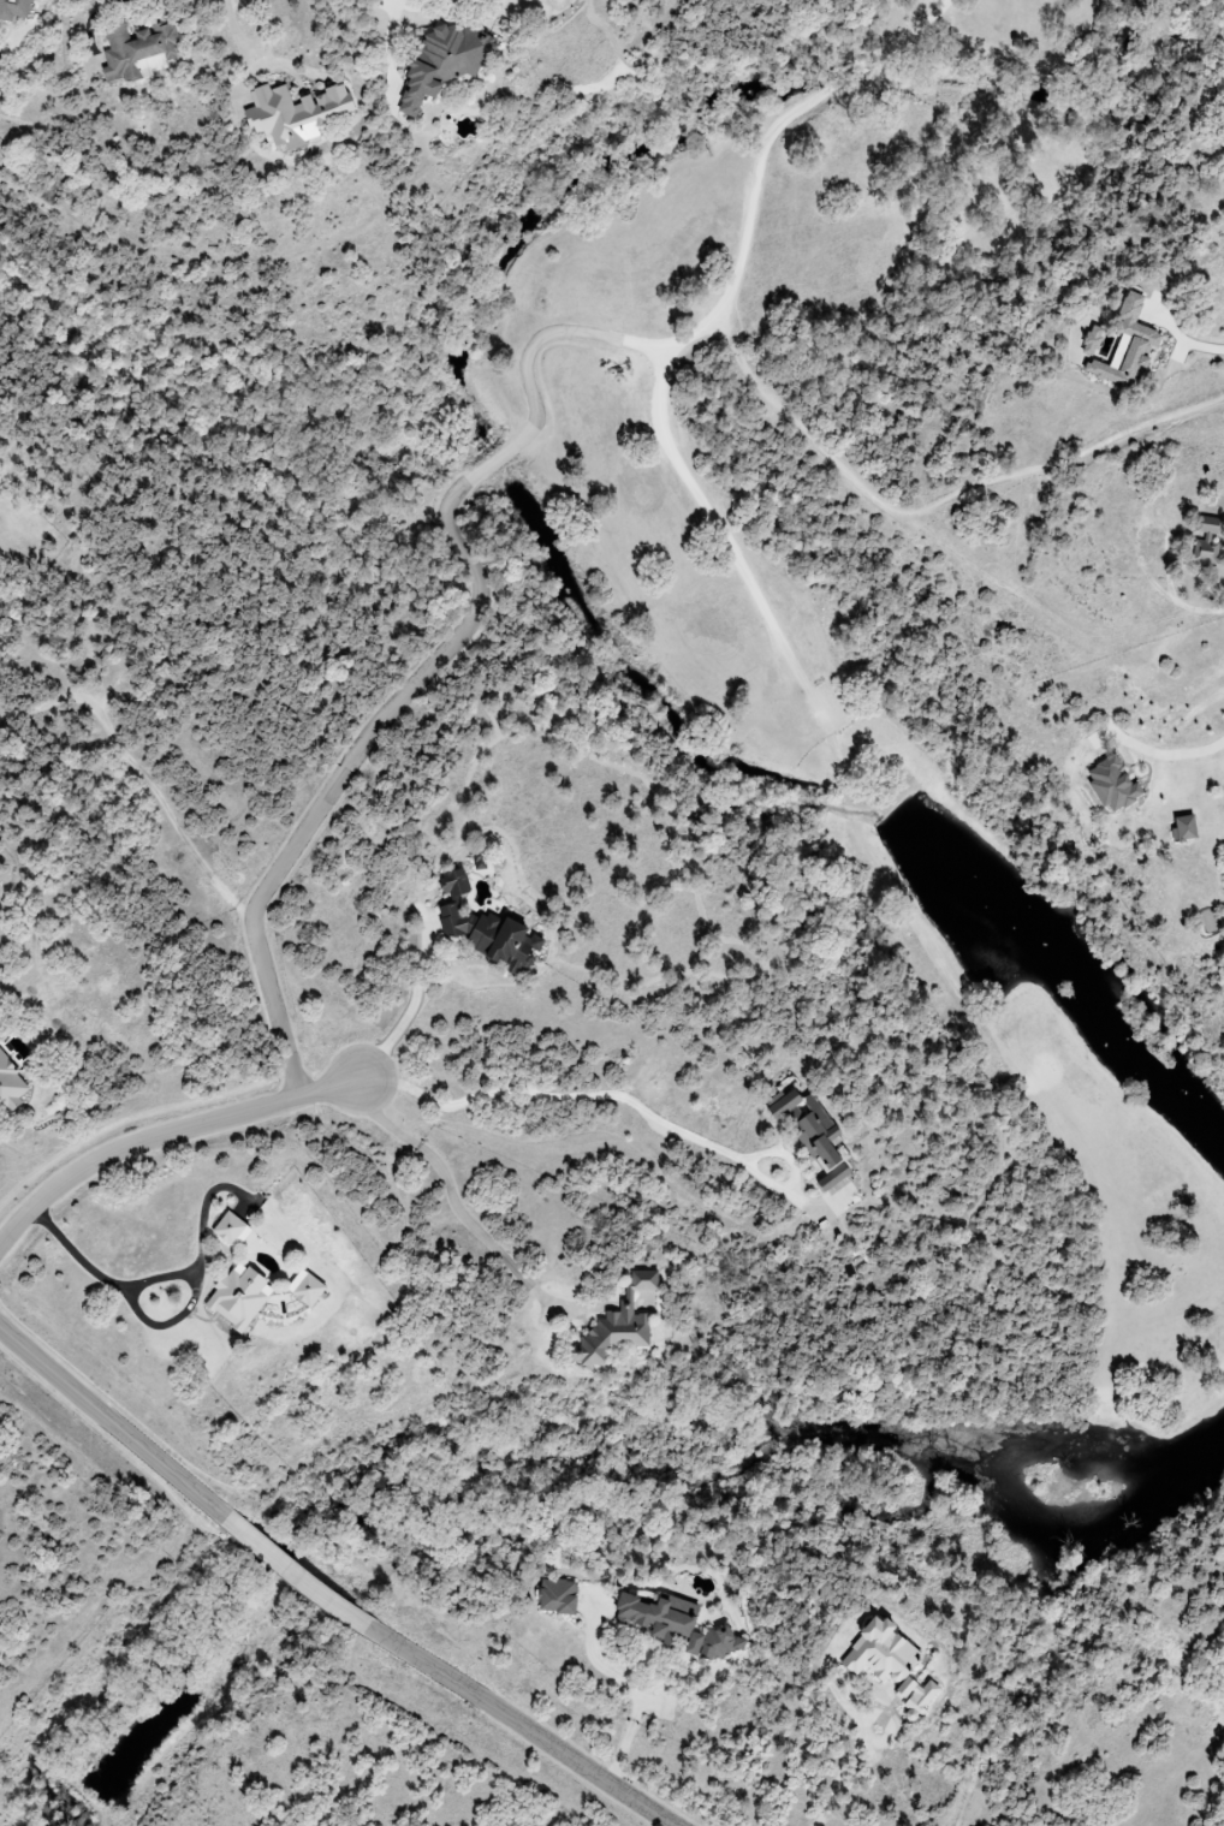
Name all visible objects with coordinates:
road: (403, 2)
building: (14, 8)
road: (228, 19)
building: (138, 50)
building: (444, 61)
building: (295, 114)
building: (1092, 340)
building: (1128, 346)
road: (1204, 347)
road: (530, 357)
road: (773, 400)
road: (495, 462)
building: (1207, 540)
parking lot: (826, 709)
park: (803, 759)
road: (346, 763)
building: (1112, 785)
building: (1183, 827)
building: (486, 928)
road: (412, 1004)
road: (599, 1090)
building: (809, 1125)
road: (164, 1129)
building: (834, 1177)
road: (450, 1189)
building: (230, 1227)
road: (159, 1279)
building: (305, 1287)
building: (239, 1295)
road: (167, 1322)
building: (618, 1324)
road: (109, 1426)
road: (296, 1574)
building: (558, 1595)
building: (677, 1625)
building: (890, 1664)
road: (632, 1684)
road: (517, 1731)
road: (837, 1772)

